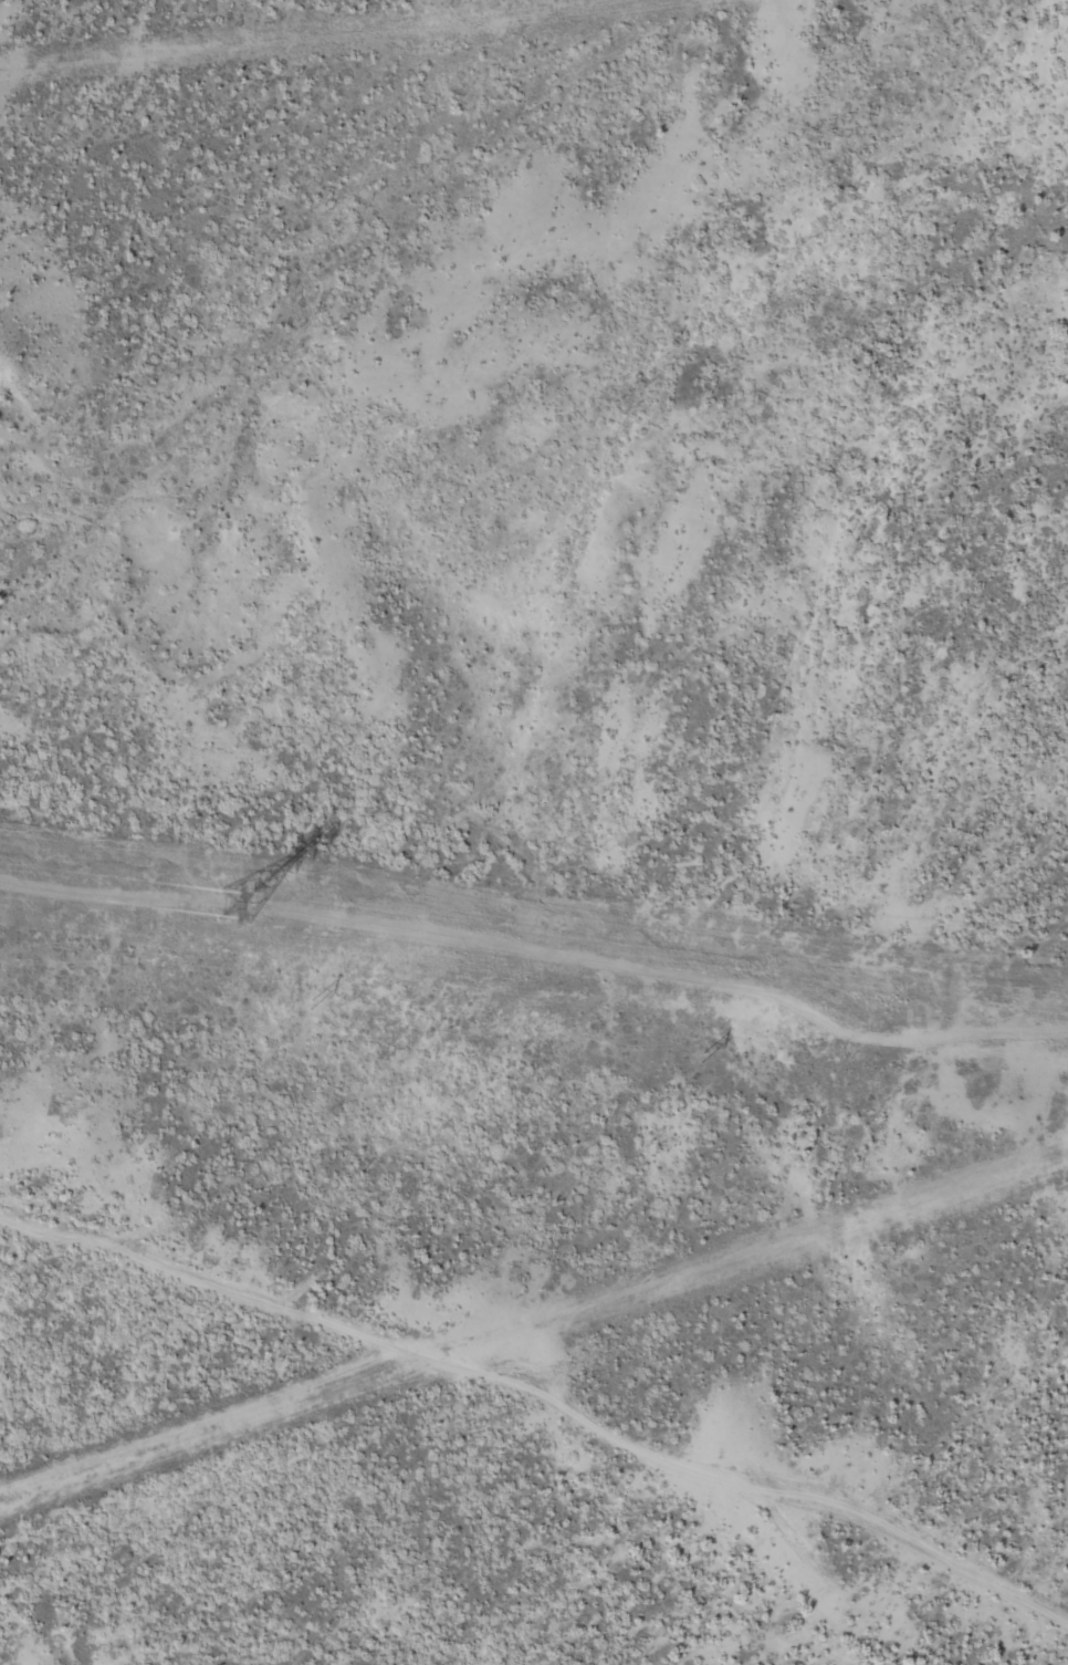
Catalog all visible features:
power tower: (237, 902)
power tower: (308, 1002)
power tower: (699, 1054)
road: (534, 1407)

